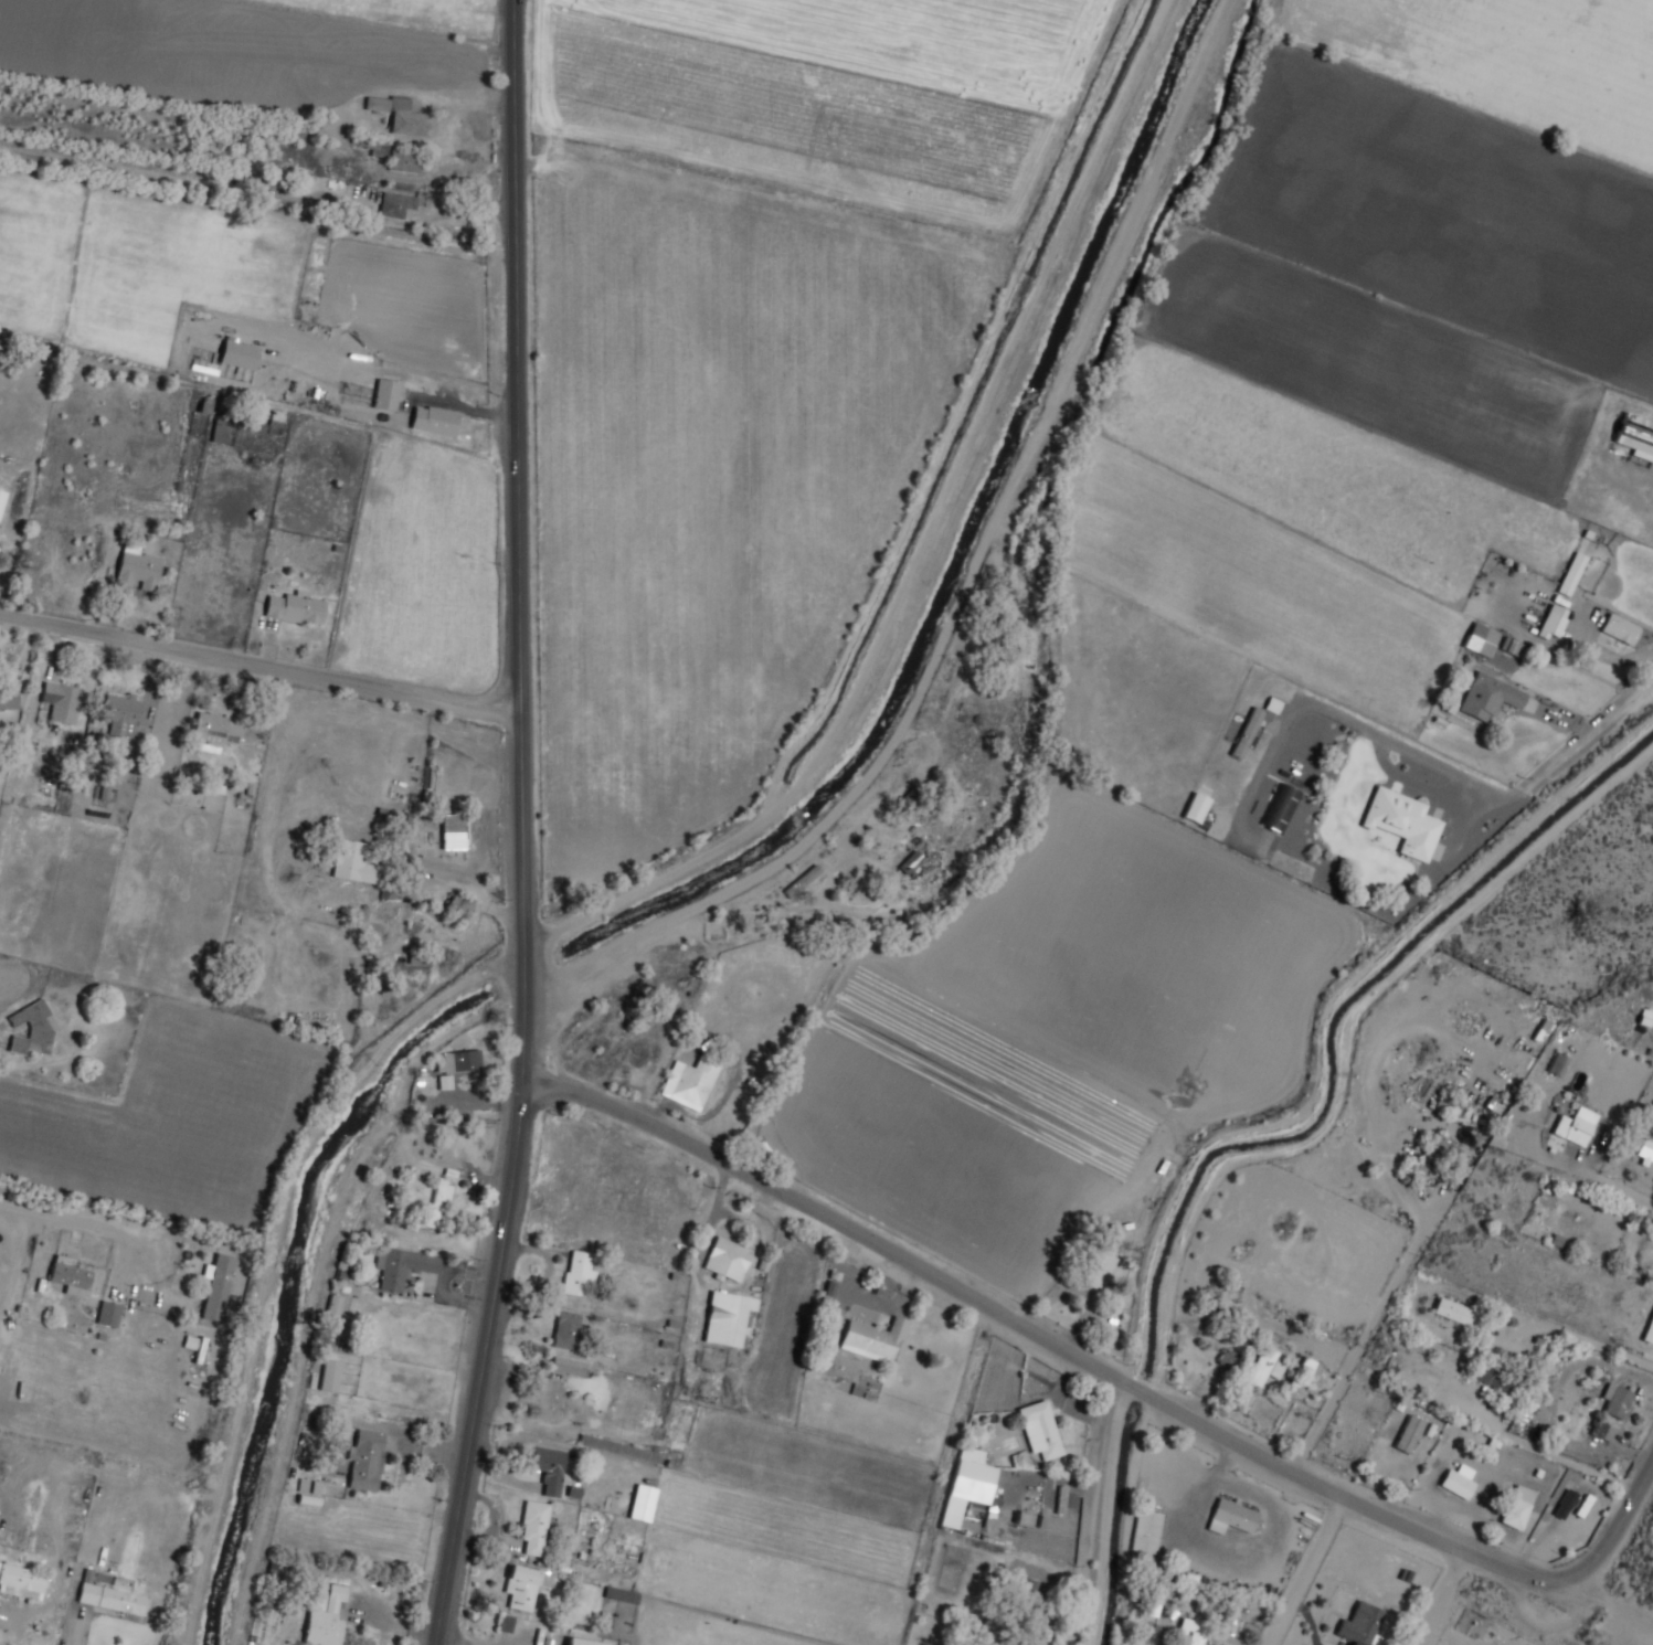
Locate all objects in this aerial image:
building: (402, 117)
building: (375, 148)
building: (405, 162)
building: (282, 184)
building: (396, 205)
building: (15, 349)
building: (239, 354)
building: (385, 394)
building: (435, 422)
building: (218, 429)
building: (1635, 436)
building: (1, 500)
building: (138, 570)
building: (1571, 573)
building: (297, 609)
building: (1553, 622)
building: (1622, 629)
building: (1490, 643)
road: (261, 662)
building: (1491, 697)
building: (8, 698)
building: (62, 703)
building: (123, 714)
building: (1248, 732)
building: (213, 734)
road: (1592, 734)
building: (908, 804)
building: (1196, 807)
building: (1280, 808)
building: (1405, 821)
road: (523, 826)
building: (455, 832)
building: (353, 860)
building: (910, 861)
building: (804, 881)
building: (457, 909)
road: (627, 957)
building: (1644, 1017)
building: (33, 1028)
building: (459, 1062)
building: (1557, 1063)
building: (690, 1082)
building: (1218, 1094)
building: (1578, 1126)
building: (1646, 1151)
building: (1433, 1155)
road: (1622, 1190)
building: (438, 1202)
road: (78, 1220)
building: (728, 1260)
building: (402, 1266)
building: (1096, 1266)
building: (579, 1275)
building: (70, 1276)
building: (218, 1290)
building: (333, 1307)
building: (108, 1314)
building: (1459, 1314)
building: (725, 1317)
road: (1371, 1329)
building: (568, 1331)
building: (1650, 1334)
road: (1579, 1338)
building: (876, 1339)
building: (1232, 1360)
building: (570, 1366)
building: (1263, 1367)
road: (1105, 1371)
building: (328, 1375)
building: (1496, 1378)
building: (551, 1399)
building: (1618, 1400)
building: (1601, 1430)
building: (1041, 1431)
building: (618, 1448)
road: (1564, 1458)
building: (365, 1461)
building: (548, 1468)
building: (1461, 1482)
building: (966, 1484)
building: (1067, 1500)
building: (640, 1503)
building: (1566, 1505)
building: (1519, 1507)
building: (1586, 1507)
road: (1092, 1510)
building: (1233, 1517)
building: (536, 1527)
building: (1147, 1532)
road: (1307, 1571)
building: (22, 1579)
building: (526, 1586)
building: (1027, 1598)
road: (1445, 1598)
building: (113, 1600)
building: (1149, 1602)
road: (1611, 1602)
building: (322, 1616)
building: (1363, 1625)
building: (1191, 1633)
building: (580, 1643)

